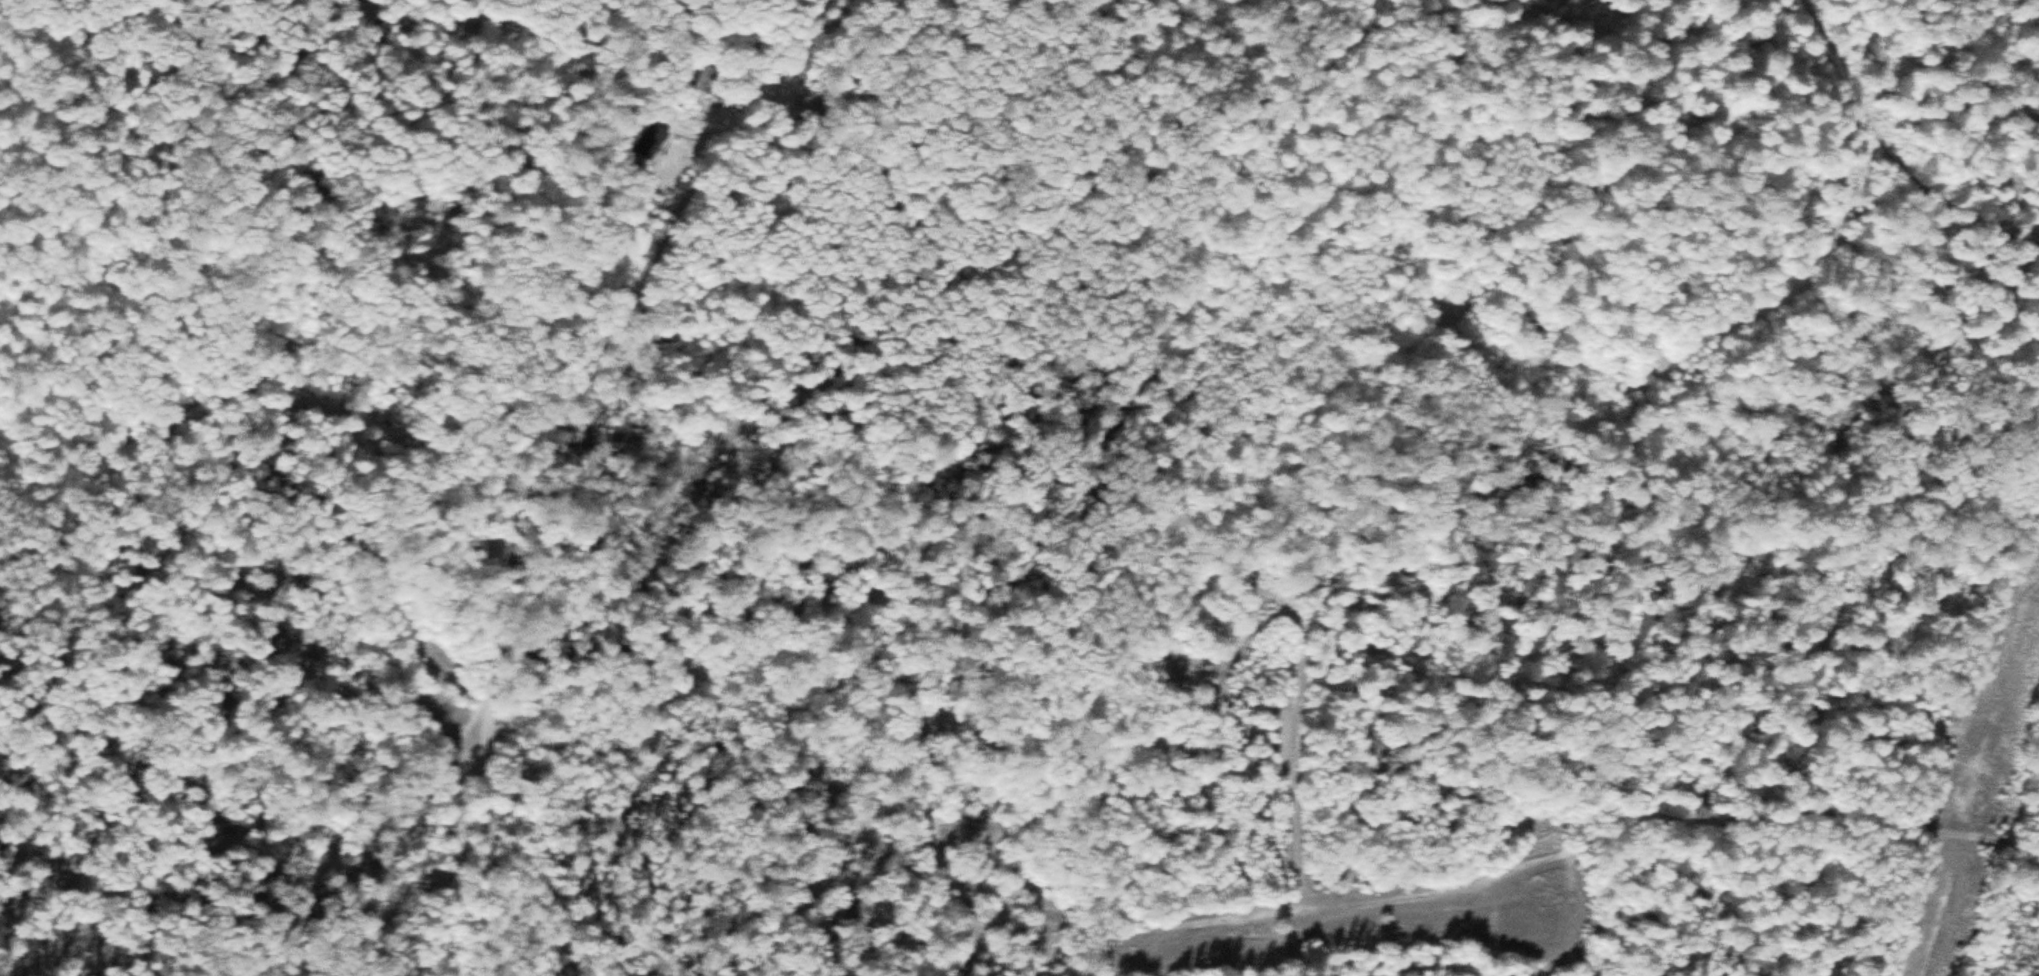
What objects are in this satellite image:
building: (650, 138)
road: (1897, 152)
road: (635, 298)
road: (491, 807)
road: (1192, 921)

